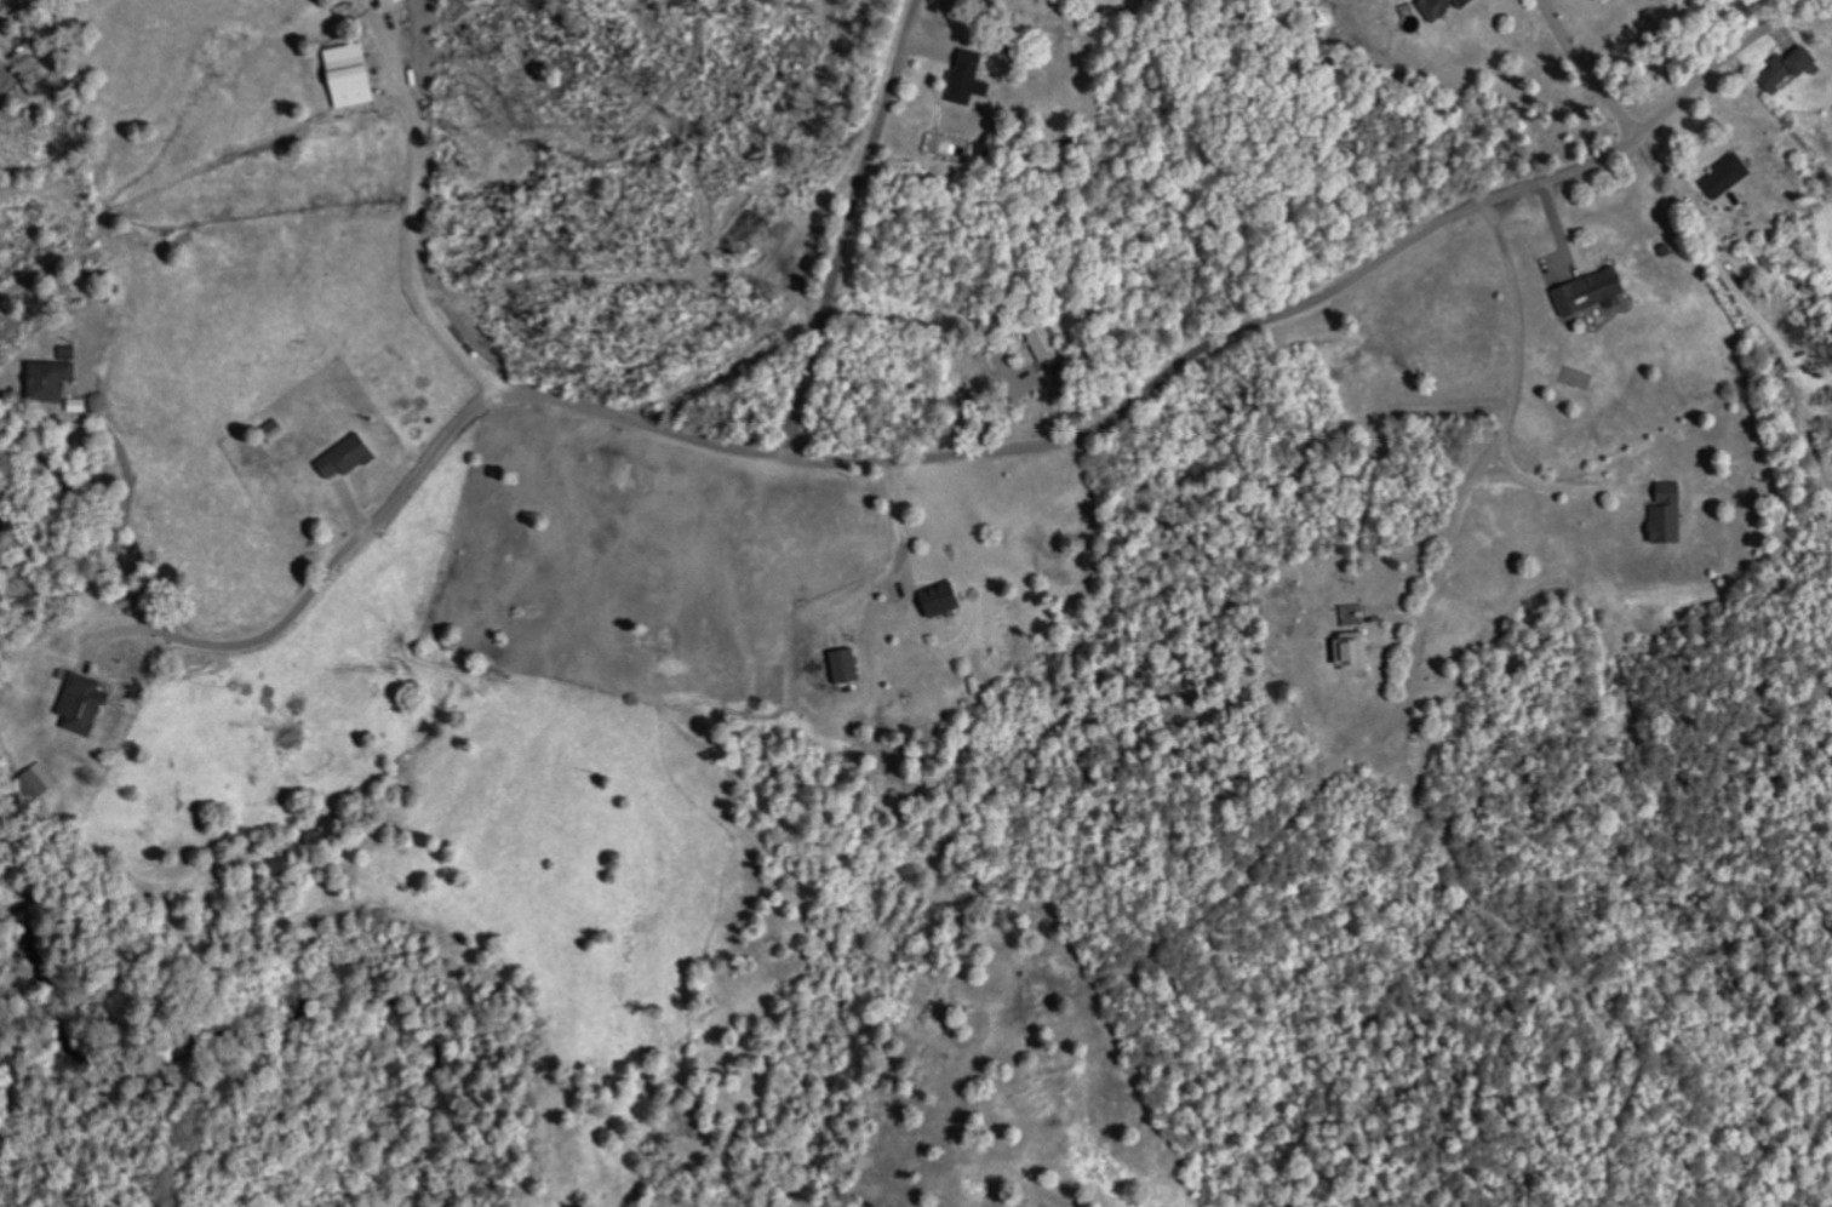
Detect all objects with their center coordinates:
building: (395, 2)
building: (1448, 8)
building: (1792, 68)
road: (1590, 70)
building: (359, 75)
building: (974, 79)
building: (1730, 177)
road: (849, 225)
building: (1596, 293)
road: (1321, 296)
building: (1049, 351)
building: (73, 353)
building: (58, 382)
road: (454, 429)
building: (351, 457)
building: (1673, 515)
road: (1425, 585)
building: (948, 600)
building: (1358, 651)
building: (853, 667)
building: (88, 704)
building: (42, 782)

